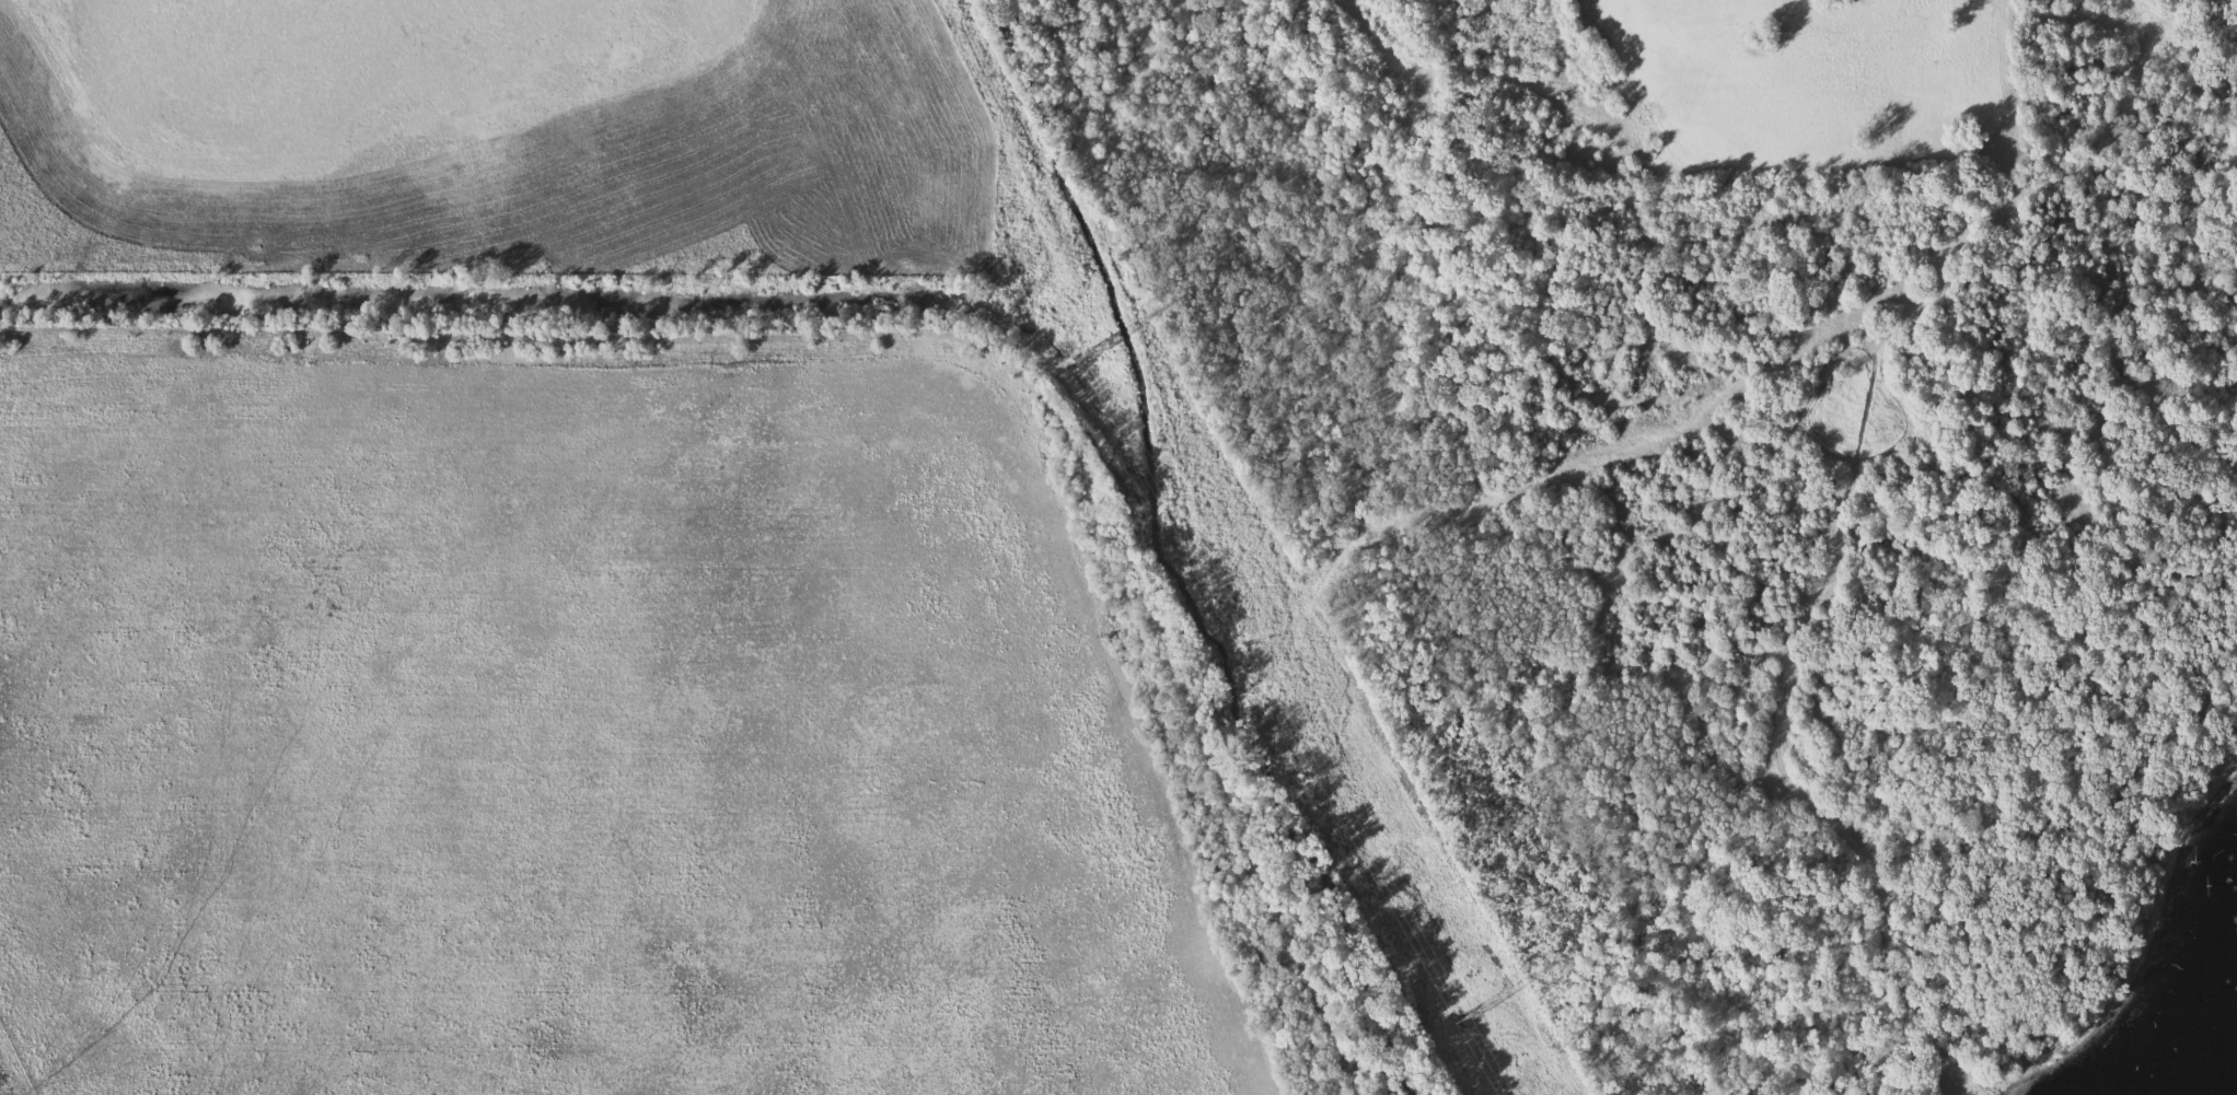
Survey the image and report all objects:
power tower: (1104, 350)
power tower: (1484, 1015)

